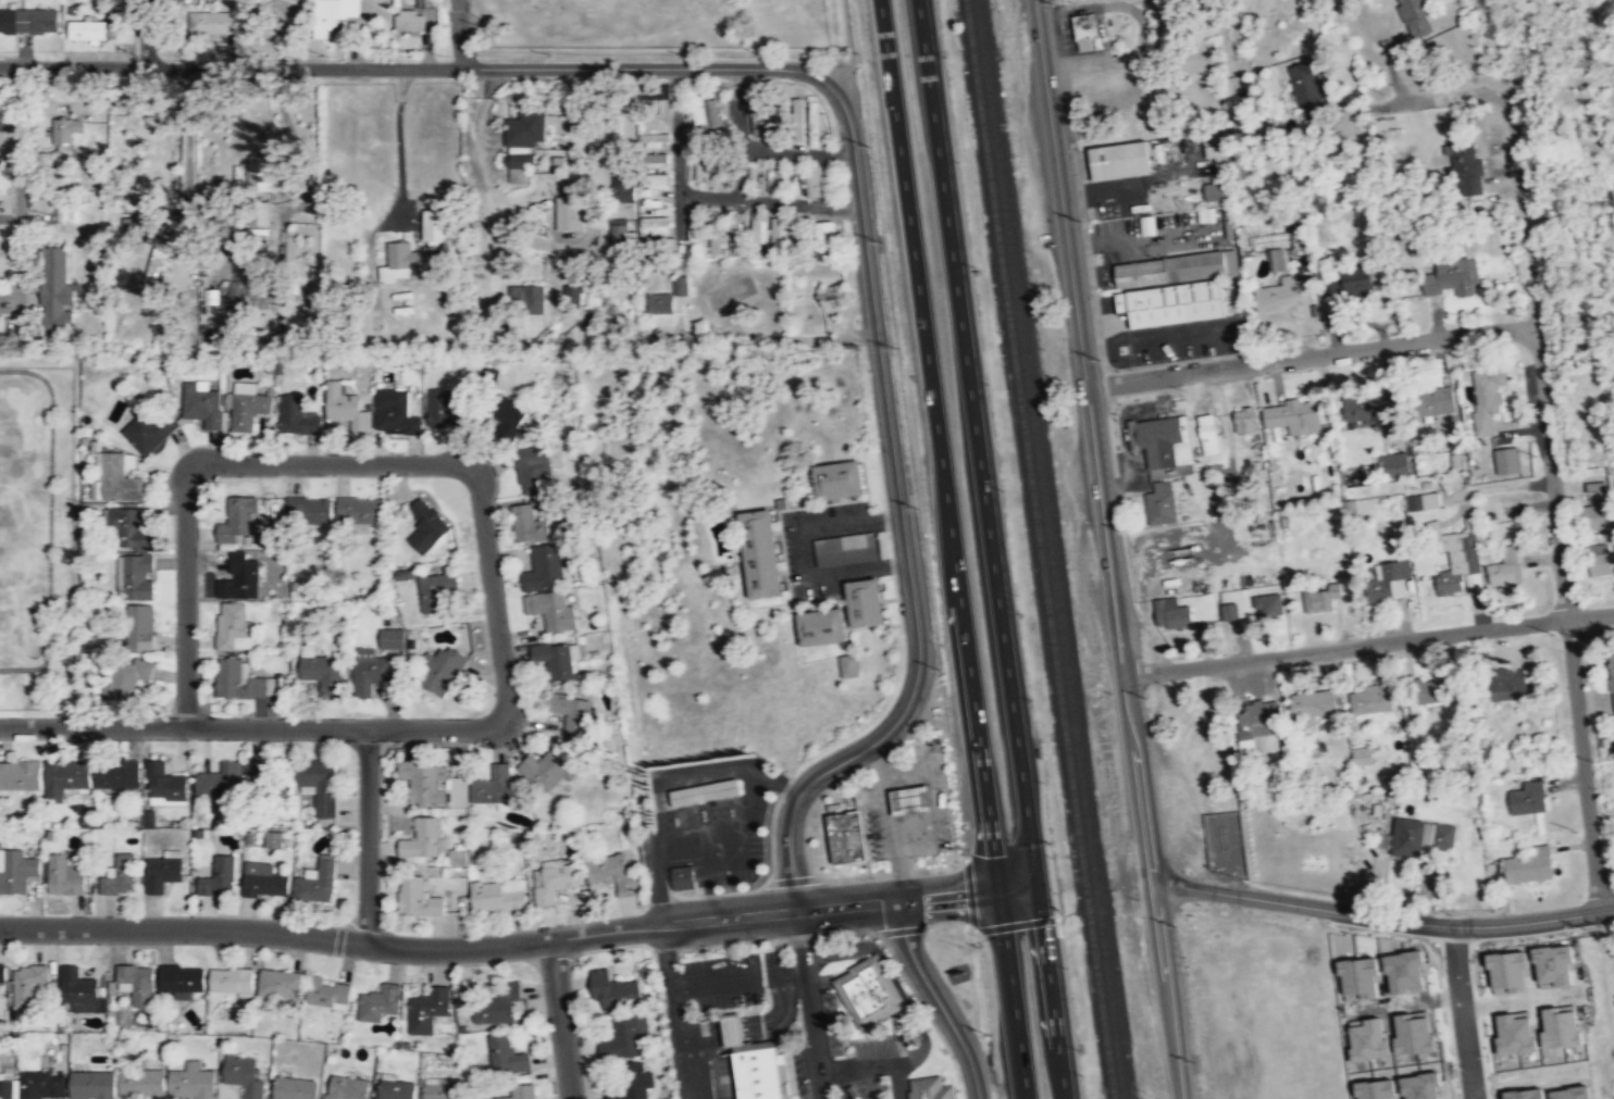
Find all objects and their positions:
building: (427, 5)
building: (101, 8)
building: (332, 14)
building: (1417, 17)
building: (409, 18)
building: (27, 21)
building: (212, 22)
building: (86, 30)
building: (1088, 32)
road: (144, 33)
road: (458, 34)
road: (229, 66)
road: (656, 67)
building: (1308, 90)
building: (698, 109)
building: (715, 111)
building: (758, 114)
building: (648, 121)
building: (816, 122)
building: (778, 123)
building: (64, 130)
building: (654, 139)
building: (522, 142)
building: (658, 159)
building: (1122, 160)
building: (1466, 165)
building: (1217, 167)
building: (702, 170)
building: (774, 170)
building: (760, 171)
building: (259, 173)
building: (658, 180)
building: (622, 189)
road: (708, 196)
building: (568, 213)
building: (259, 214)
building: (655, 225)
building: (758, 226)
building: (436, 229)
building: (794, 229)
building: (695, 233)
building: (735, 233)
building: (619, 234)
building: (713, 234)
building: (829, 237)
building: (156, 260)
building: (398, 261)
building: (1454, 277)
building: (1358, 280)
building: (681, 283)
building: (259, 286)
building: (1178, 288)
building: (55, 291)
building: (1286, 294)
building: (834, 296)
building: (526, 298)
building: (573, 298)
building: (660, 301)
road: (1575, 320)
building: (593, 323)
road: (1311, 354)
building: (1489, 396)
building: (1444, 399)
building: (201, 404)
building: (344, 407)
building: (1373, 408)
building: (443, 409)
building: (248, 410)
building: (394, 412)
building: (296, 416)
building: (508, 416)
building: (1295, 416)
building: (1244, 420)
building: (150, 428)
building: (1210, 433)
building: (1163, 440)
building: (1510, 460)
road: (327, 462)
building: (1394, 464)
road: (603, 470)
building: (533, 471)
building: (117, 479)
building: (839, 479)
building: (1423, 501)
building: (1162, 502)
building: (360, 509)
building: (309, 510)
building: (1603, 515)
building: (236, 520)
building: (529, 525)
building: (424, 526)
road: (905, 530)
road: (954, 549)
road: (991, 549)
railway: (1042, 549)
railway: (1052, 549)
road: (1107, 549)
building: (845, 550)
building: (132, 552)
building: (760, 553)
building: (1462, 560)
building: (1601, 560)
building: (1506, 567)
building: (543, 569)
building: (406, 573)
building: (238, 576)
building: (1393, 580)
building: (436, 591)
building: (1323, 596)
building: (865, 602)
building: (1270, 604)
building: (550, 610)
building: (1229, 611)
building: (1174, 613)
road: (1146, 619)
road: (1566, 619)
building: (138, 626)
building: (233, 626)
building: (821, 626)
building: (392, 638)
road: (1368, 642)
building: (555, 661)
building: (848, 665)
building: (370, 669)
building: (443, 670)
building: (1612, 670)
building: (322, 673)
building: (125, 677)
building: (240, 682)
building: (1511, 684)
building: (1374, 699)
building: (1315, 703)
building: (571, 712)
building: (1258, 721)
road: (251, 727)
building: (1364, 755)
building: (547, 770)
building: (116, 774)
building: (20, 775)
building: (67, 775)
building: (265, 778)
building: (219, 780)
building: (164, 784)
building: (319, 784)
building: (432, 785)
building: (493, 786)
building: (705, 791)
building: (1530, 798)
building: (911, 799)
gas station: (911, 799)
road: (367, 835)
building: (846, 836)
building: (1421, 837)
building: (273, 839)
building: (421, 839)
building: (1528, 865)
building: (16, 872)
building: (162, 872)
building: (612, 874)
building: (65, 875)
building: (120, 875)
building: (683, 877)
building: (219, 878)
road: (654, 879)
building: (263, 881)
building: (551, 882)
building: (316, 883)
traffic signals: (1021, 886)
building: (495, 897)
building: (417, 898)
road: (1380, 916)
road: (519, 939)
road: (803, 940)
building: (1559, 965)
building: (1513, 973)
building: (2, 975)
road: (894, 977)
road: (738, 978)
building: (181, 979)
building: (233, 982)
building: (27, 983)
building: (137, 983)
building: (278, 983)
building: (79, 989)
building: (868, 990)
building: (327, 991)
building: (613, 991)
road: (938, 999)
building: (380, 1002)
building: (497, 1007)
building: (427, 1010)
road: (674, 1011)
road: (1462, 1012)
road: (560, 1017)
road: (753, 1025)
building: (1565, 1026)
building: (734, 1027)
building: (1519, 1033)
road: (815, 1035)
building: (622, 1039)
building: (506, 1057)
road: (858, 1067)
building: (761, 1073)
building: (244, 1074)
building: (190, 1082)
road: (897, 1082)
building: (142, 1083)
building: (631, 1084)
building: (42, 1085)
building: (91, 1085)
building: (345, 1086)
building: (294, 1087)
building: (440, 1087)
building: (7, 1088)
building: (393, 1088)
building: (930, 1088)
building: (520, 1092)

